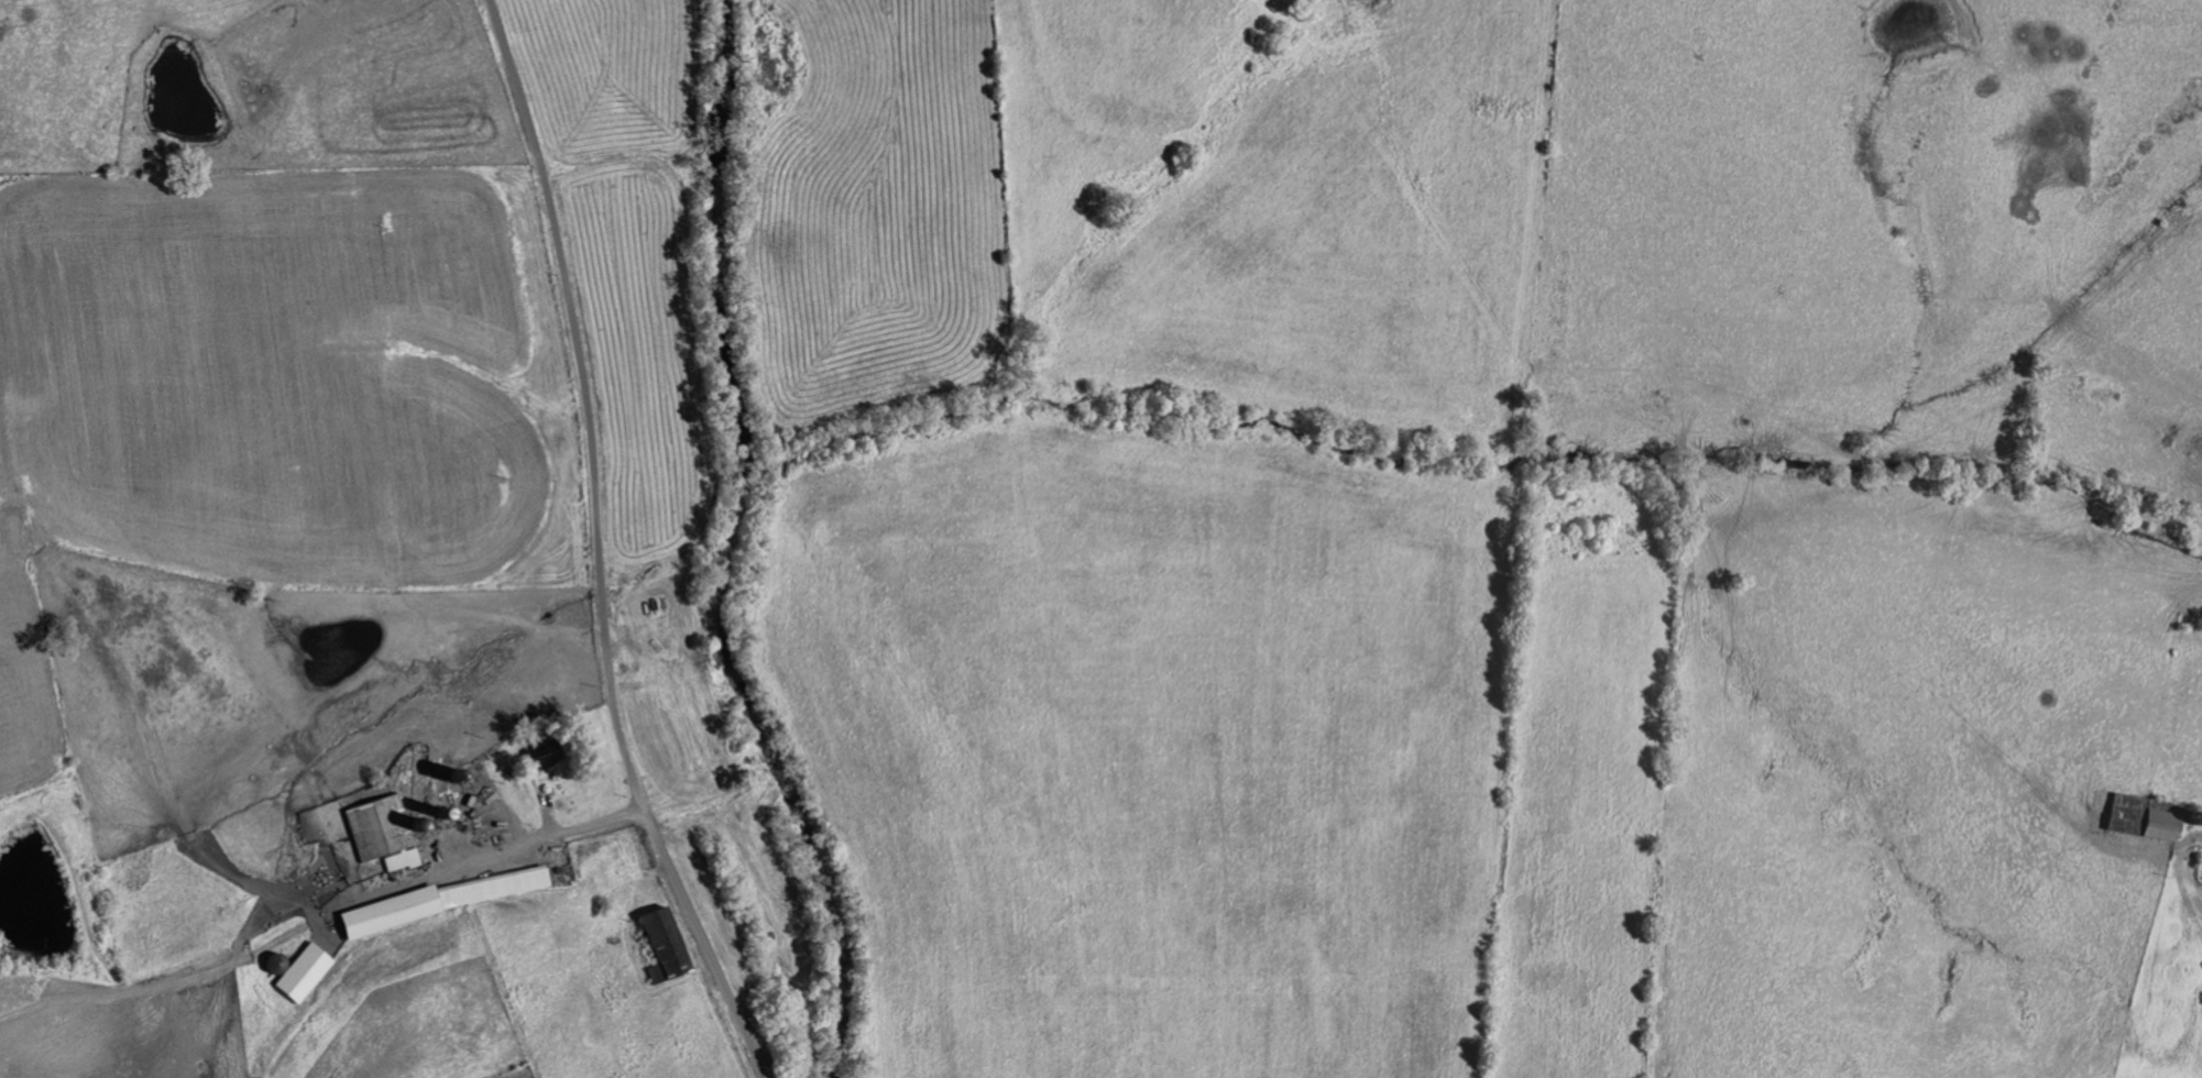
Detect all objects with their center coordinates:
road: (599, 547)
building: (2127, 810)
building: (2159, 825)
building: (379, 827)
building: (401, 860)
building: (491, 887)
building: (387, 912)
building: (660, 945)
building: (303, 972)

